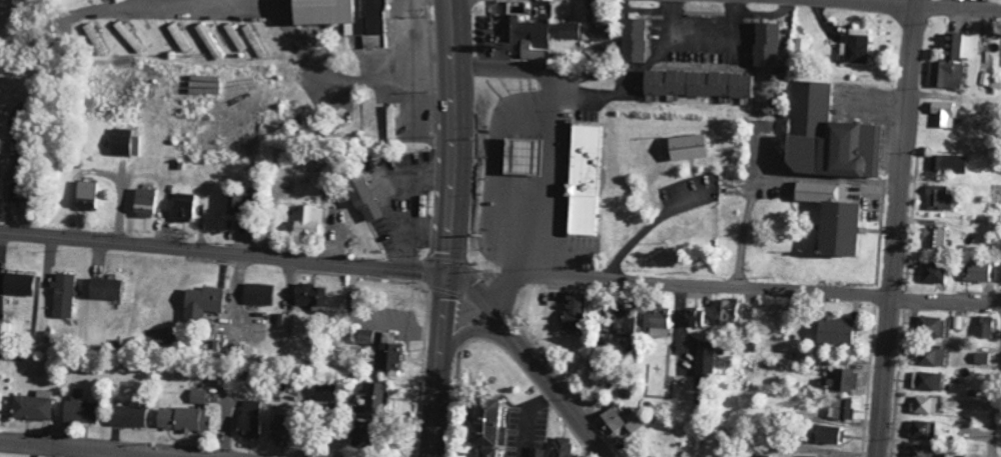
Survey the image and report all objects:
road: (946, 3)
building: (491, 7)
building: (343, 17)
road: (275, 26)
building: (89, 30)
building: (583, 31)
building: (128, 36)
building: (178, 37)
building: (527, 37)
building: (631, 39)
building: (210, 40)
building: (253, 41)
building: (764, 44)
building: (803, 44)
building: (101, 47)
building: (949, 58)
road: (458, 81)
building: (697, 83)
building: (945, 114)
building: (391, 123)
building: (826, 137)
building: (125, 143)
building: (687, 146)
building: (520, 156)
building: (946, 163)
building: (584, 180)
building: (87, 195)
building: (360, 196)
building: (938, 197)
building: (145, 200)
building: (239, 202)
building: (181, 207)
road: (450, 217)
building: (830, 218)
building: (307, 221)
road: (653, 222)
road: (898, 228)
building: (932, 239)
road: (223, 252)
building: (999, 271)
building: (931, 273)
building: (18, 284)
road: (757, 286)
building: (104, 288)
building: (258, 294)
road: (504, 294)
building: (64, 295)
building: (309, 295)
building: (200, 303)
building: (572, 311)
building: (726, 312)
building: (692, 318)
building: (287, 322)
building: (622, 322)
building: (658, 322)
building: (930, 326)
building: (983, 326)
building: (6, 329)
building: (834, 331)
road: (462, 333)
building: (363, 336)
road: (529, 350)
building: (387, 354)
building: (930, 357)
building: (982, 357)
building: (704, 358)
road: (441, 365)
building: (842, 380)
building: (926, 380)
building: (324, 392)
building: (198, 396)
building: (374, 397)
building: (925, 405)
building: (33, 406)
building: (251, 407)
building: (842, 409)
building: (78, 411)
building: (127, 416)
building: (182, 419)
building: (612, 420)
building: (635, 424)
building: (484, 425)
building: (247, 426)
building: (920, 429)
building: (354, 433)
building: (822, 433)
building: (277, 435)
building: (560, 447)
road: (100, 449)
building: (918, 451)
building: (534, 452)
building: (940, 455)
building: (755, 456)
building: (806, 456)

